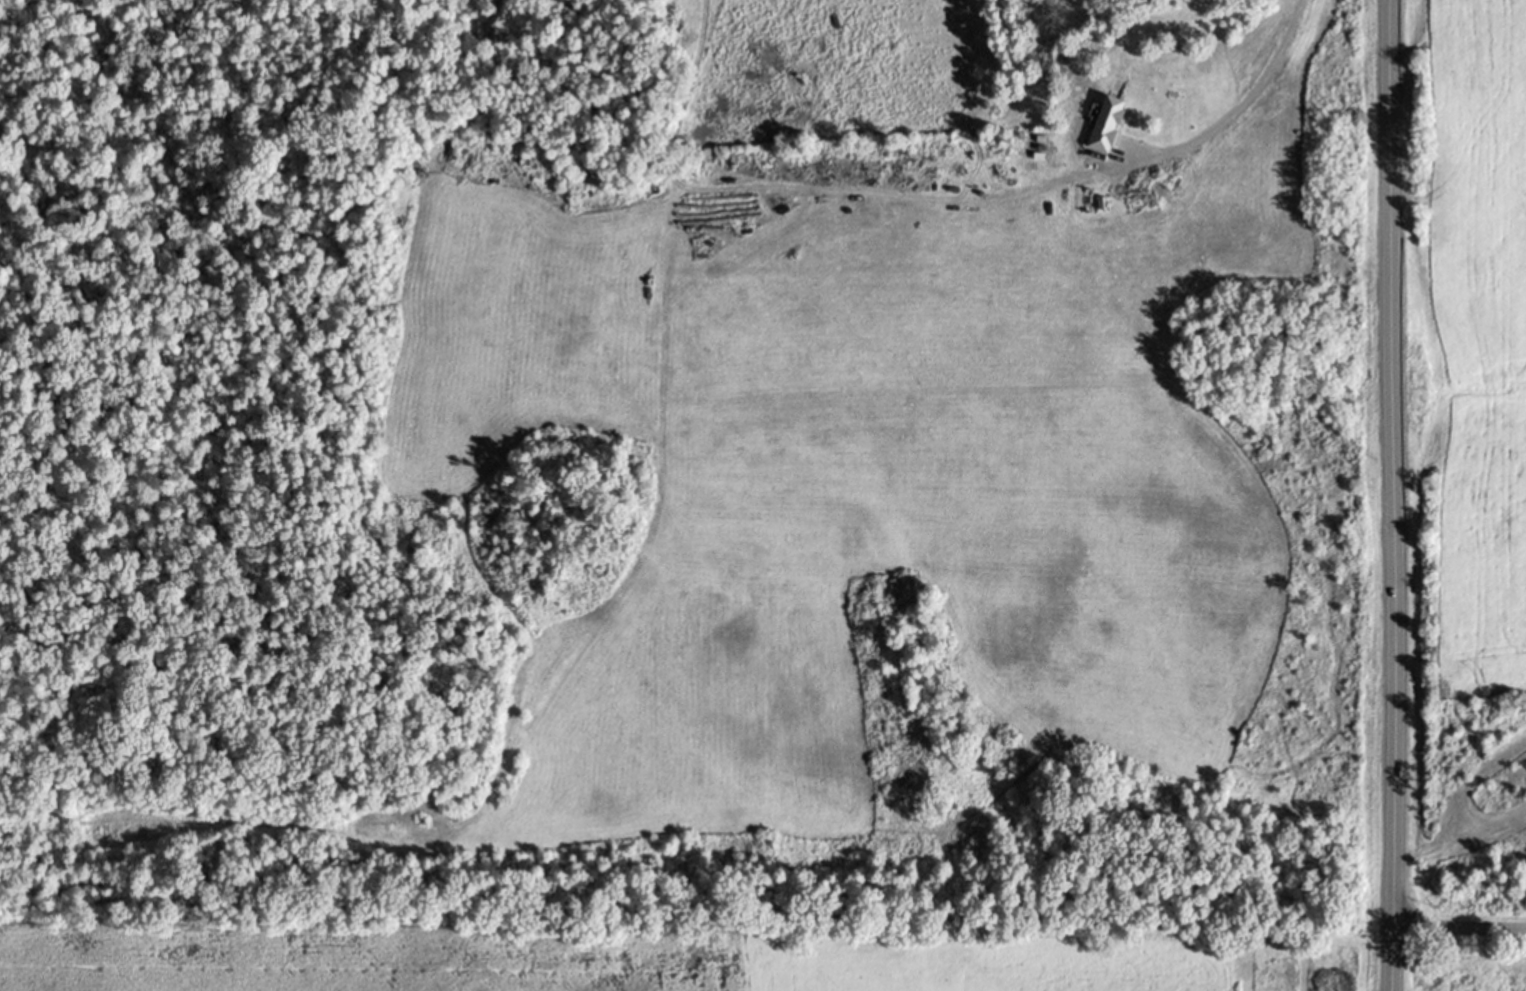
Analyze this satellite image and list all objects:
road: (1242, 102)
road: (1394, 495)
road: (1459, 928)

